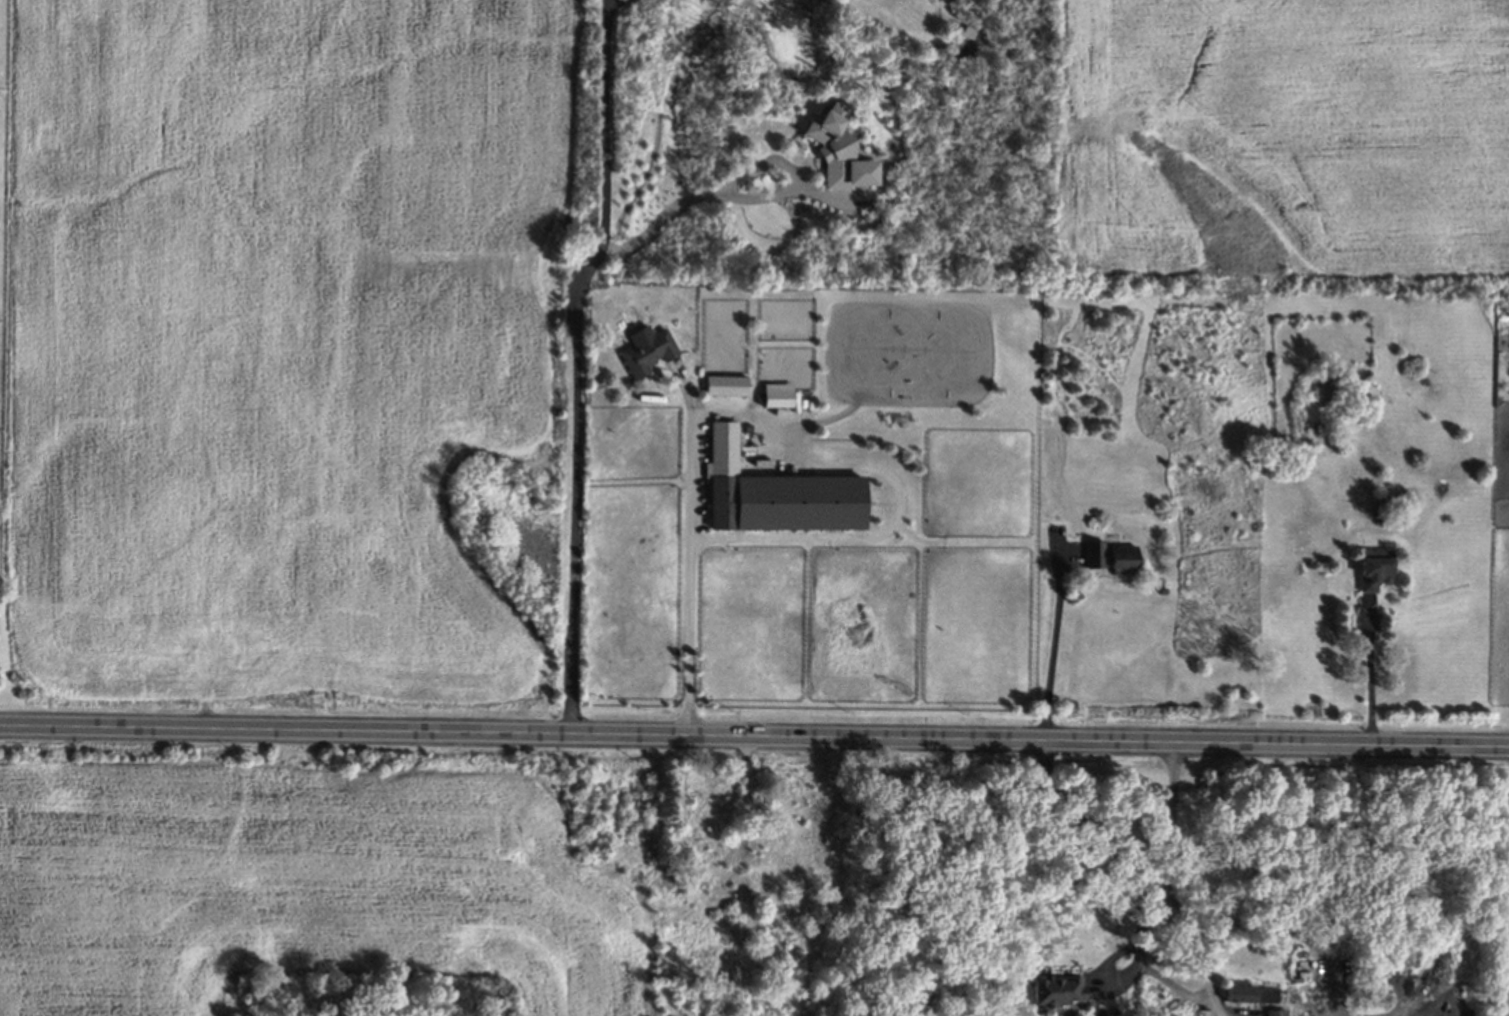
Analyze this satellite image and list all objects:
road: (607, 0)
crop: (1289, 134)
building: (833, 150)
road: (743, 197)
crop: (294, 348)
crop: (910, 353)
building: (648, 354)
road: (572, 360)
building: (726, 385)
building: (778, 396)
building: (723, 450)
road: (897, 487)
building: (784, 504)
road: (694, 547)
building: (1109, 558)
building: (1375, 571)
road: (1053, 651)
road: (1373, 672)
road: (754, 735)
crop: (297, 887)
road: (1139, 887)
road: (1173, 911)
road: (1286, 929)
crop: (1508, 941)
building: (1056, 991)
building: (1251, 995)
road: (1218, 1005)
building: (1276, 1013)

